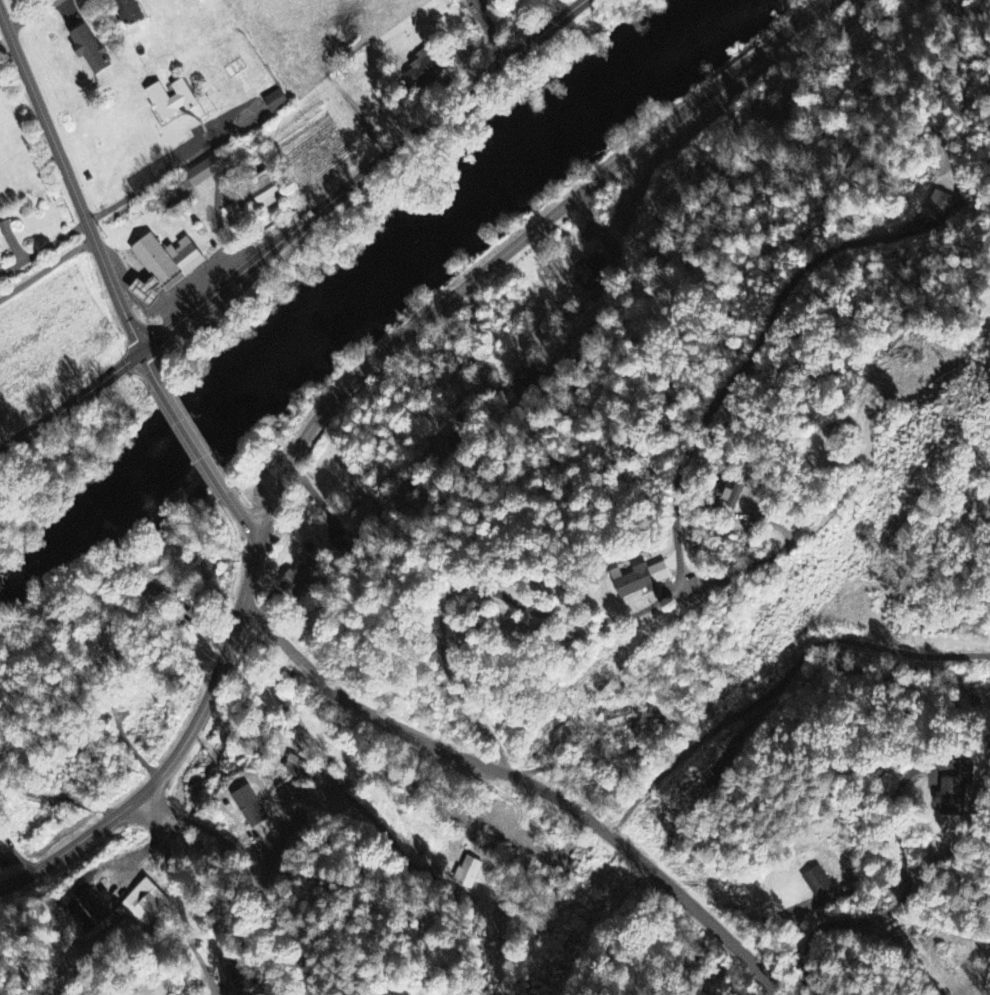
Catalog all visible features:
building: (129, 12)
road: (31, 13)
building: (91, 51)
building: (424, 70)
building: (171, 100)
building: (277, 102)
building: (206, 171)
road: (365, 176)
road: (150, 180)
road: (71, 181)
building: (267, 191)
building: (939, 207)
river: (439, 236)
road: (515, 245)
building: (166, 258)
road: (47, 266)
building: (591, 272)
building: (143, 289)
traffic signals: (143, 353)
road: (148, 366)
power tower: (961, 388)
road: (71, 402)
road: (191, 436)
building: (733, 495)
road: (243, 518)
river: (78, 531)
road: (250, 573)
building: (300, 578)
building: (641, 580)
road: (780, 685)
building: (622, 718)
building: (298, 771)
building: (969, 771)
road: (502, 773)
road: (158, 777)
building: (951, 798)
building: (0, 855)
building: (468, 873)
building: (817, 881)
road: (177, 896)
building: (144, 906)
building: (231, 976)
road: (765, 977)
building: (402, 992)
building: (389, 993)

